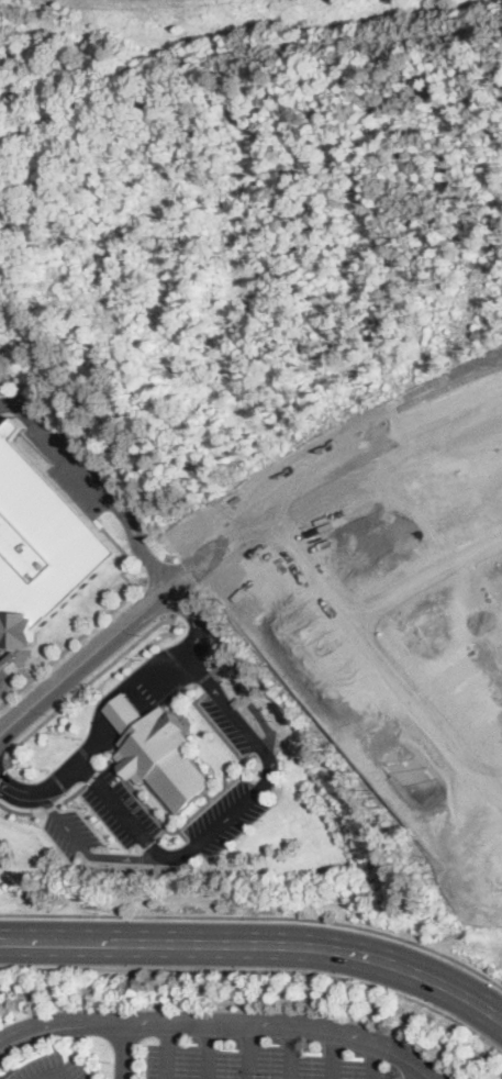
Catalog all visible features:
road: (326, 465)
road: (99, 476)
building: (41, 541)
road: (422, 576)
road: (196, 619)
road: (72, 639)
road: (378, 655)
road: (86, 657)
parking lot: (0, 667)
road: (83, 685)
road: (238, 686)
road: (136, 708)
parking lot: (232, 721)
building: (158, 749)
road: (1, 763)
road: (45, 787)
road: (45, 808)
road: (230, 814)
parking lot: (228, 816)
parking lot: (68, 831)
road: (86, 852)
road: (257, 915)
road: (258, 943)
road: (260, 968)
road: (220, 1024)
road: (122, 1052)
road: (166, 1052)
road: (205, 1052)
road: (248, 1052)
road: (293, 1054)
road: (333, 1056)
road: (135, 1060)
road: (371, 1061)
parking lot: (254, 1064)
parking lot: (51, 1068)
road: (52, 1071)
road: (427, 1077)

